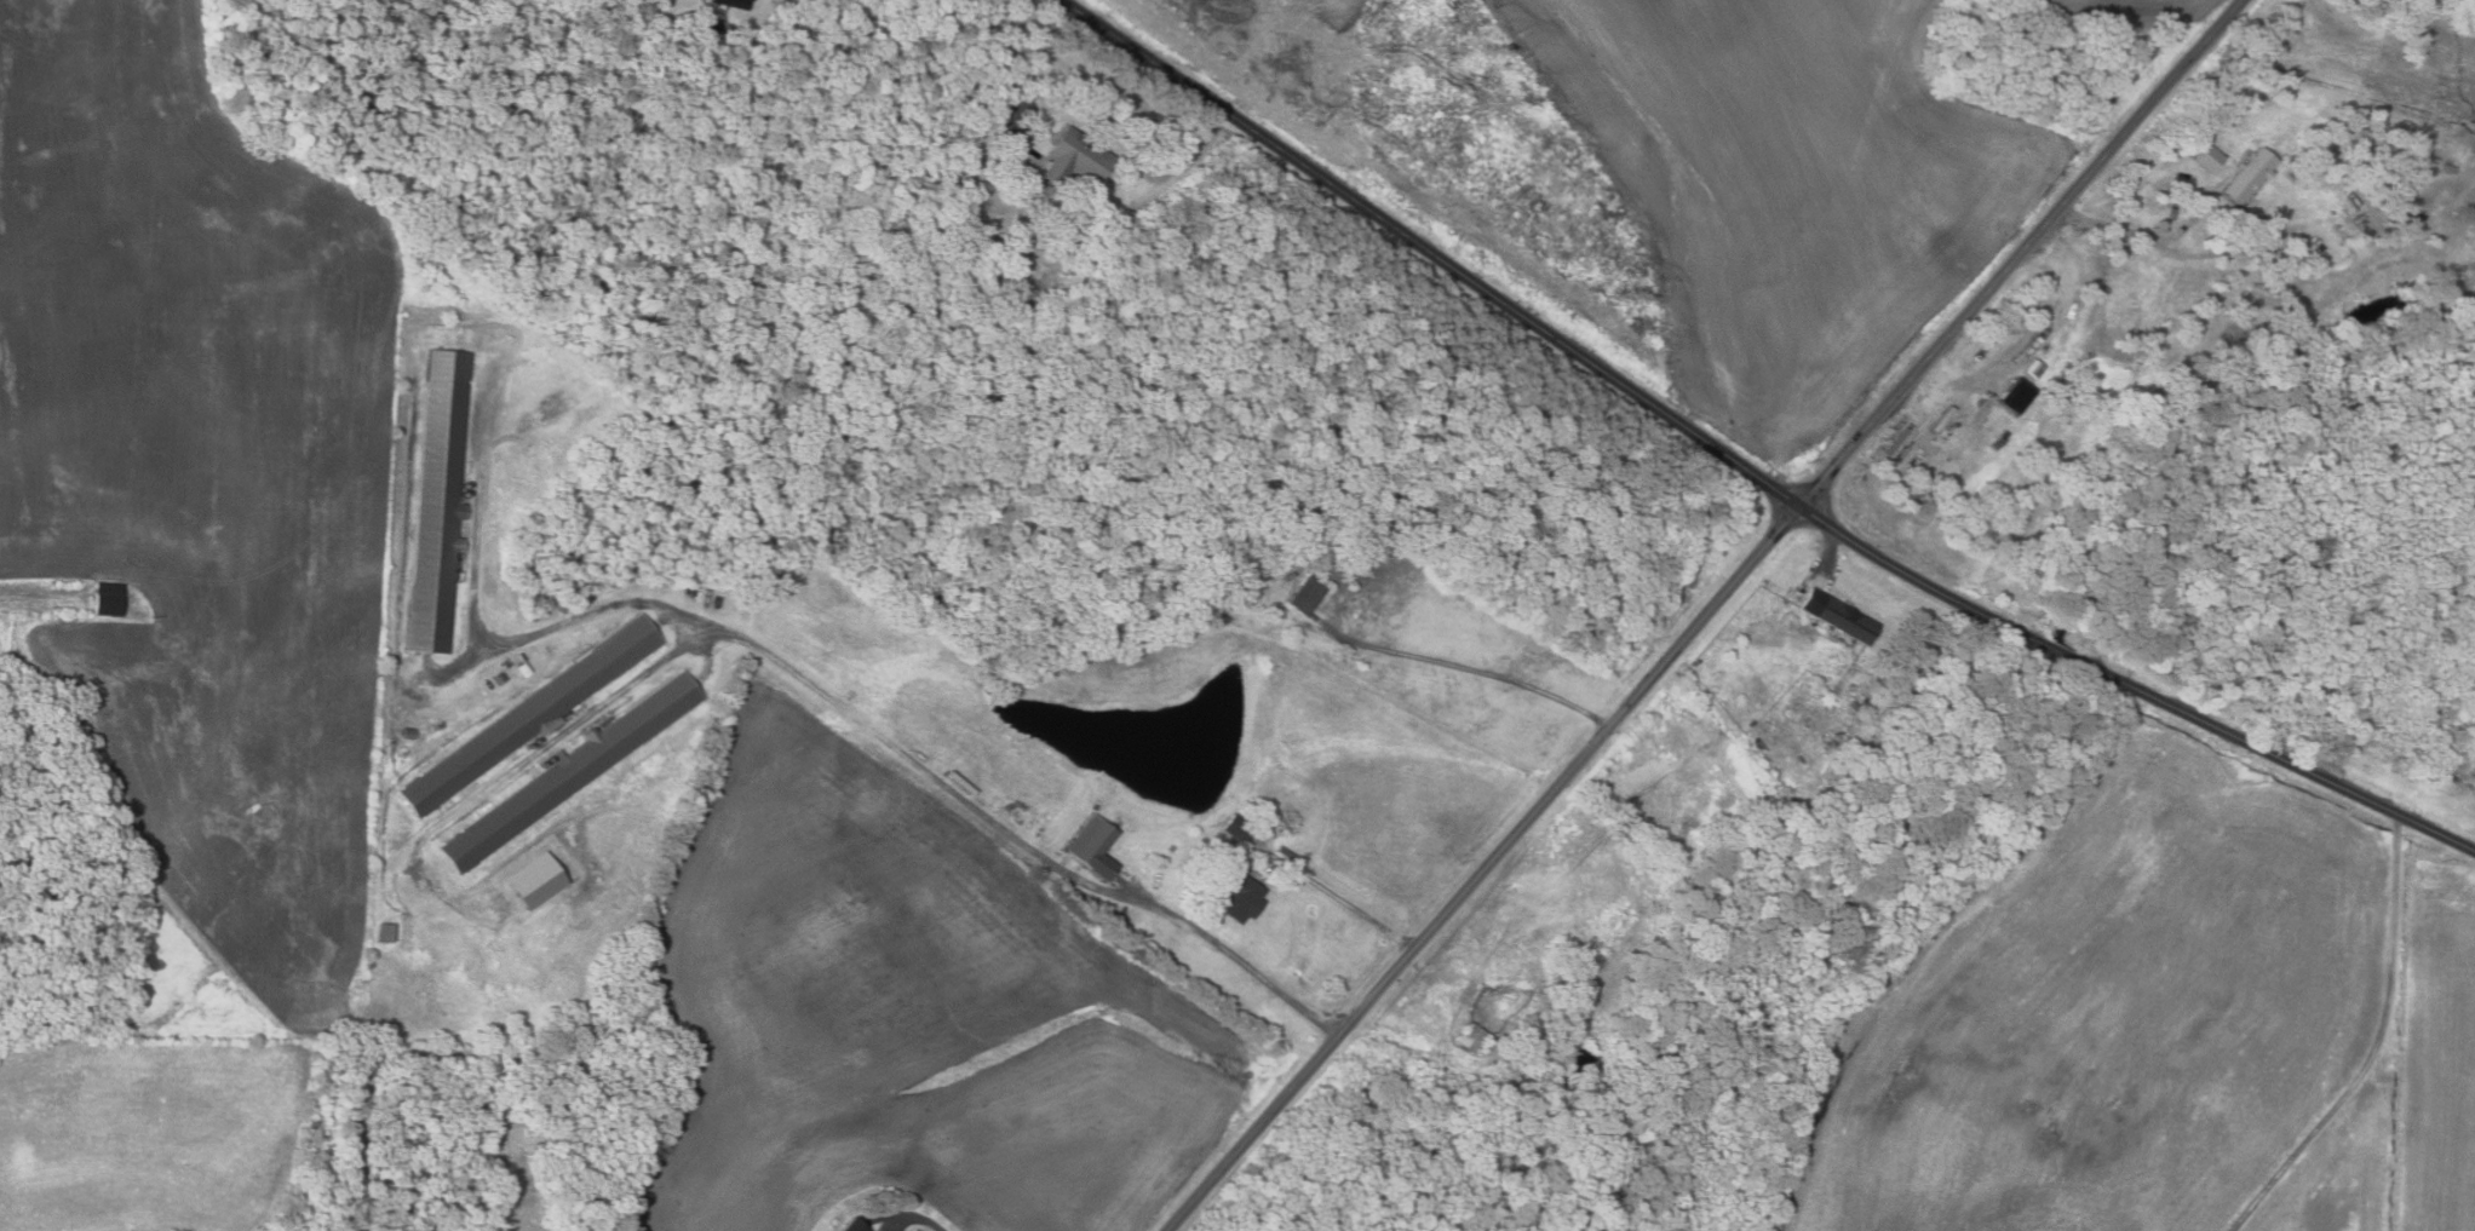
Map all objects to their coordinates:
building: (731, 4)
road: (999, 4)
crop: (2131, 13)
crop: (1342, 19)
building: (713, 24)
road: (1013, 139)
building: (1074, 156)
building: (2206, 156)
building: (2293, 172)
building: (2249, 174)
crop: (1788, 188)
building: (2176, 194)
building: (2400, 208)
building: (972, 215)
road: (2143, 237)
road: (1551, 334)
road: (2026, 347)
building: (2032, 368)
building: (2015, 395)
crop: (201, 495)
building: (437, 501)
road: (1828, 556)
building: (1254, 557)
building: (1244, 576)
building: (1305, 597)
building: (107, 598)
road: (1705, 615)
building: (1837, 615)
road: (2061, 652)
road: (777, 662)
building: (521, 668)
road: (1469, 668)
building: (498, 678)
building: (1865, 690)
building: (1862, 700)
building: (1854, 707)
building: (529, 715)
building: (406, 732)
road: (2273, 752)
building: (1857, 753)
building: (568, 773)
building: (1845, 781)
building: (1843, 792)
building: (1236, 829)
building: (1092, 846)
building: (1170, 849)
building: (1239, 896)
road: (1147, 897)
road: (1338, 898)
building: (383, 932)
road: (1258, 976)
crop: (2107, 1007)
crop: (907, 1016)
building: (1470, 1037)
road: (2377, 1045)
crop: (2407, 1082)
road: (928, 1220)
building: (851, 1225)
building: (909, 1230)

